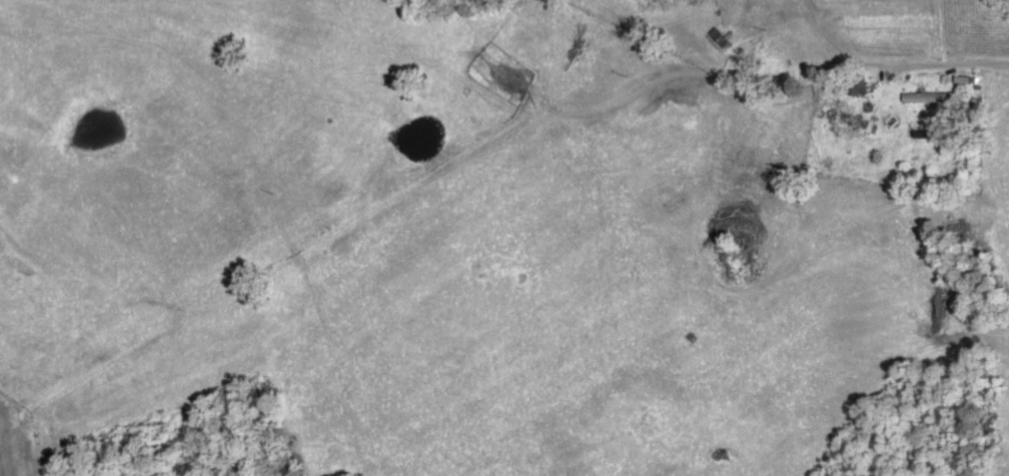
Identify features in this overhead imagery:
building: (856, 84)

